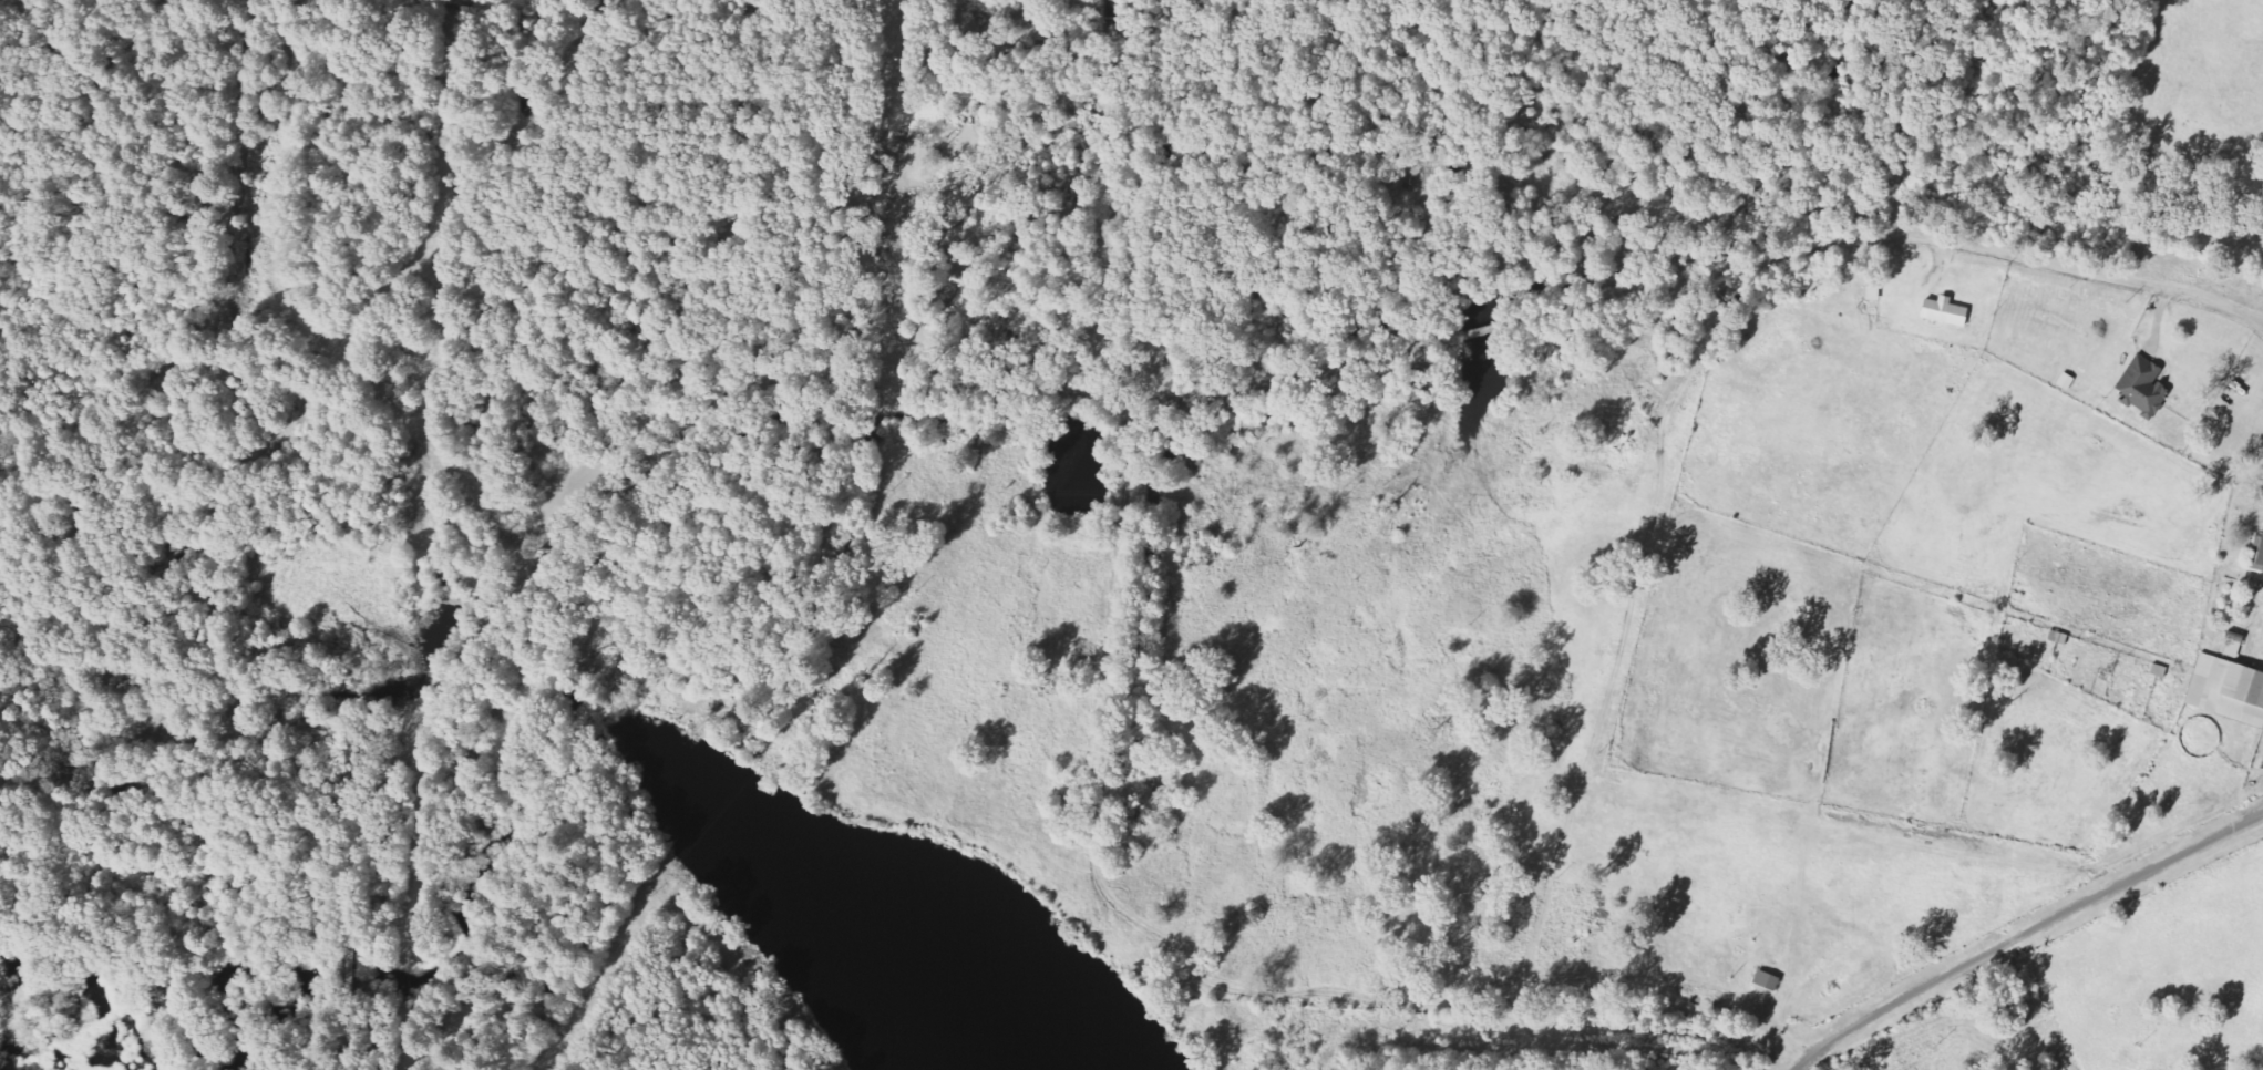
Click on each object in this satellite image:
road: (822, 187)
building: (1948, 312)
road: (1272, 384)
building: (2144, 388)
road: (1618, 490)
building: (2259, 555)
road: (821, 585)
building: (2229, 690)
road: (206, 739)
road: (351, 897)
road: (2026, 934)
road: (1478, 1022)

